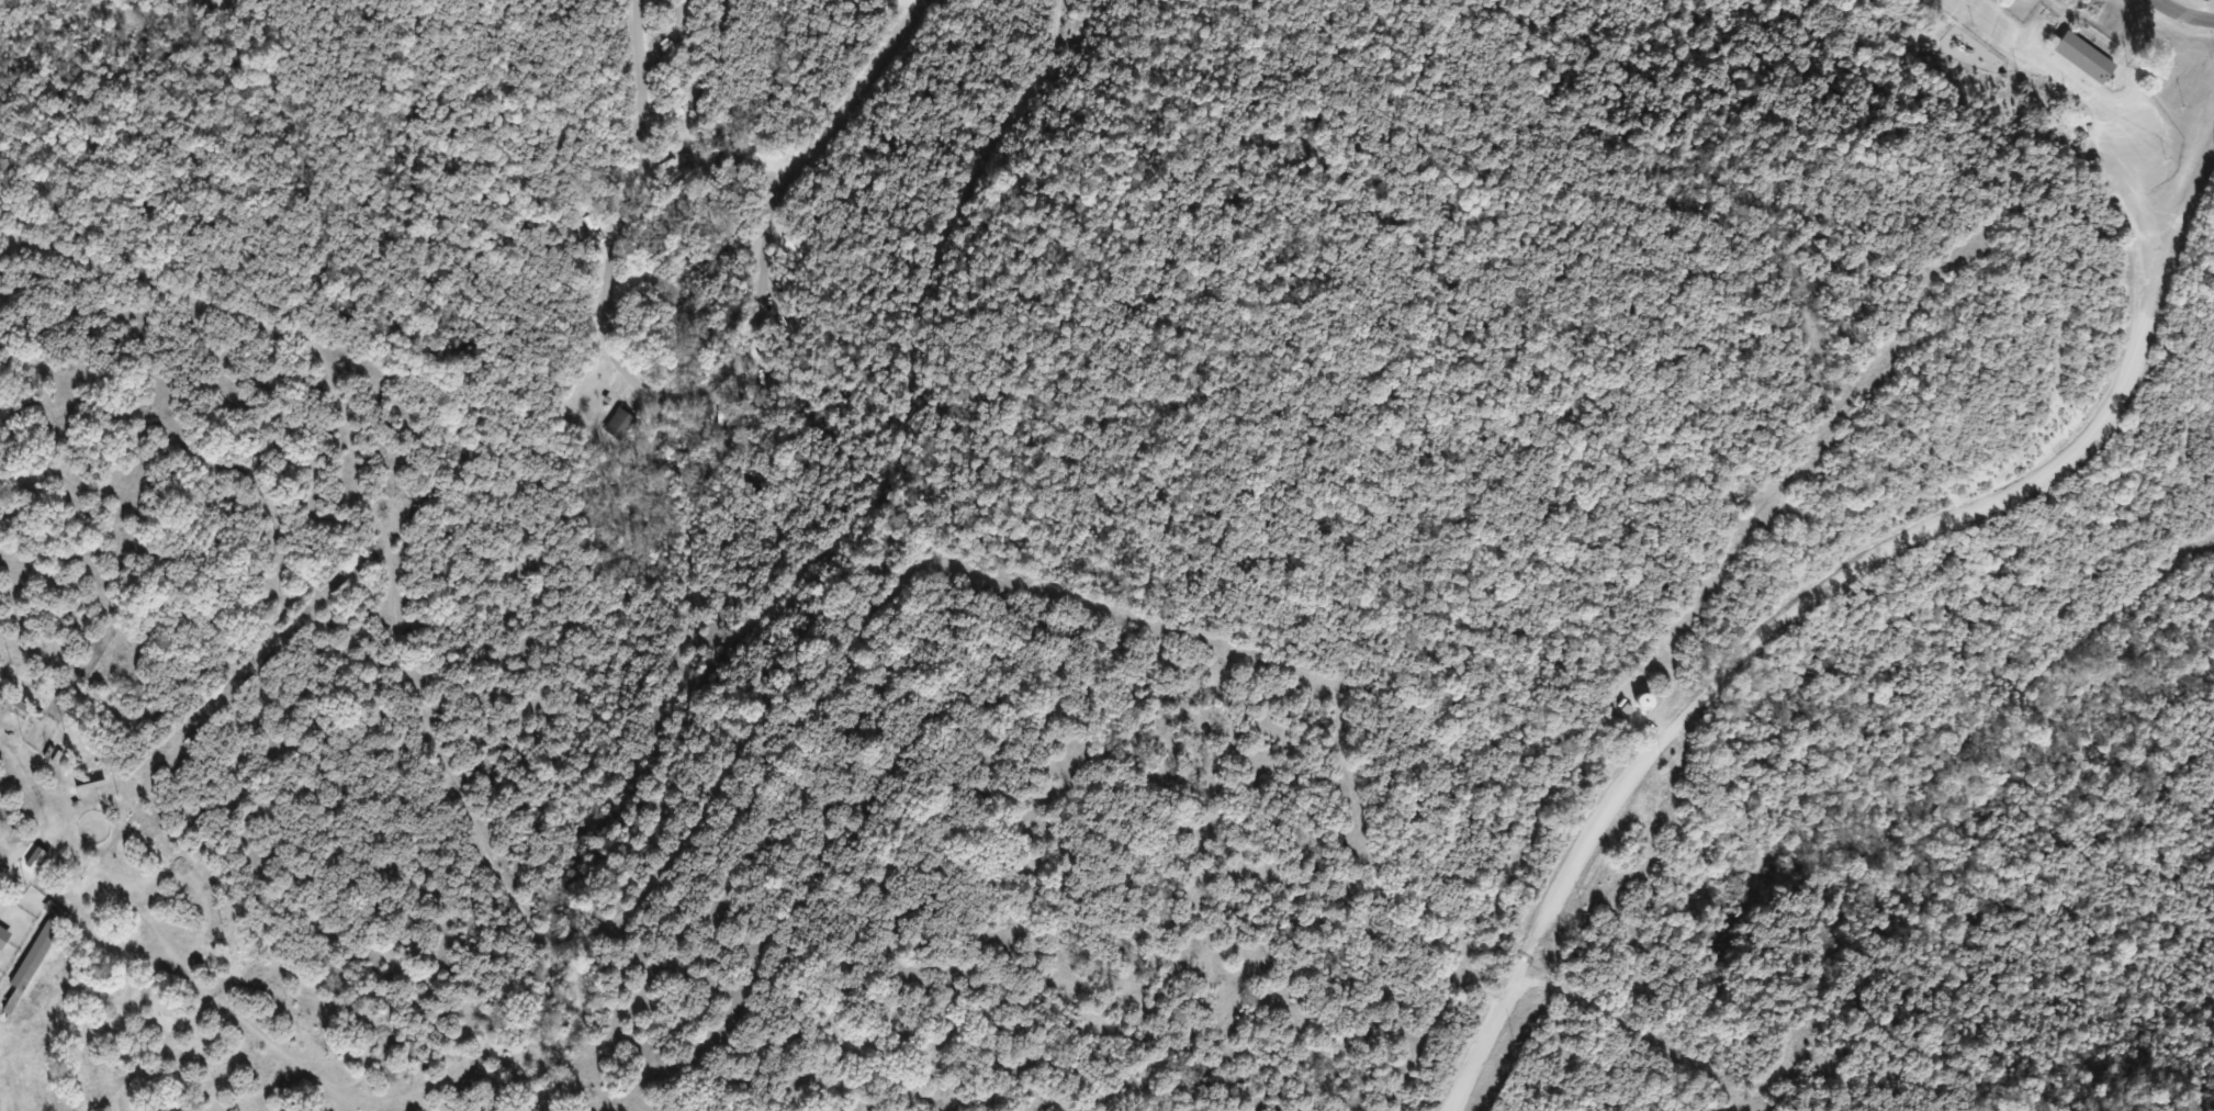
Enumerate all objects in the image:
road: (2183, 12)
building: (2083, 57)
building: (620, 426)
road: (1877, 551)
park: (1106, 555)
building: (1642, 702)
building: (13, 878)
building: (3, 938)
building: (34, 959)
building: (38, 996)
road: (1488, 1032)

